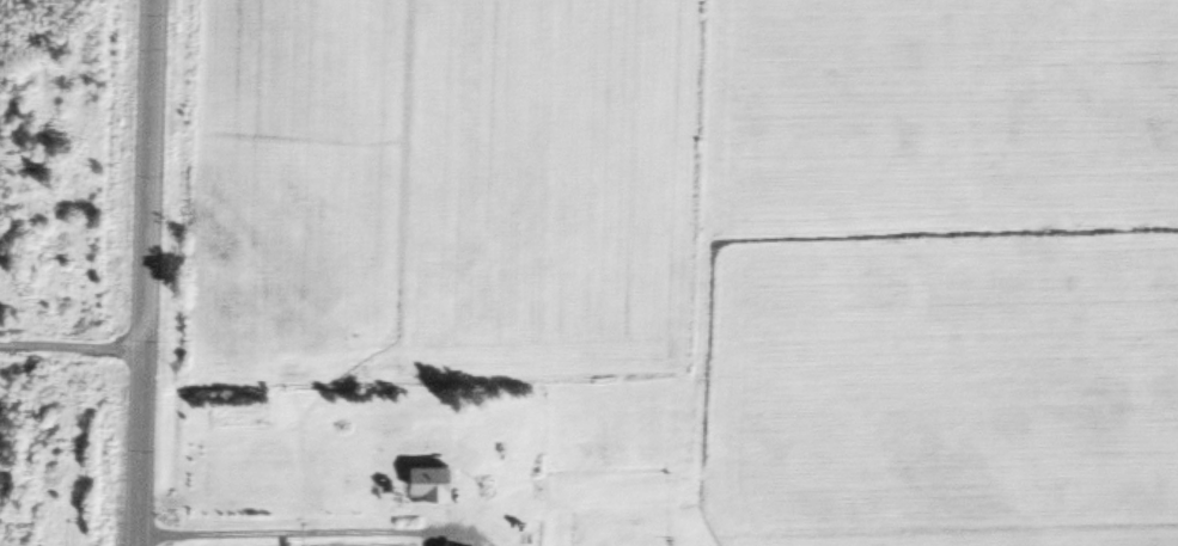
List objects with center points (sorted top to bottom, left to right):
road: (144, 272)
building: (429, 472)

